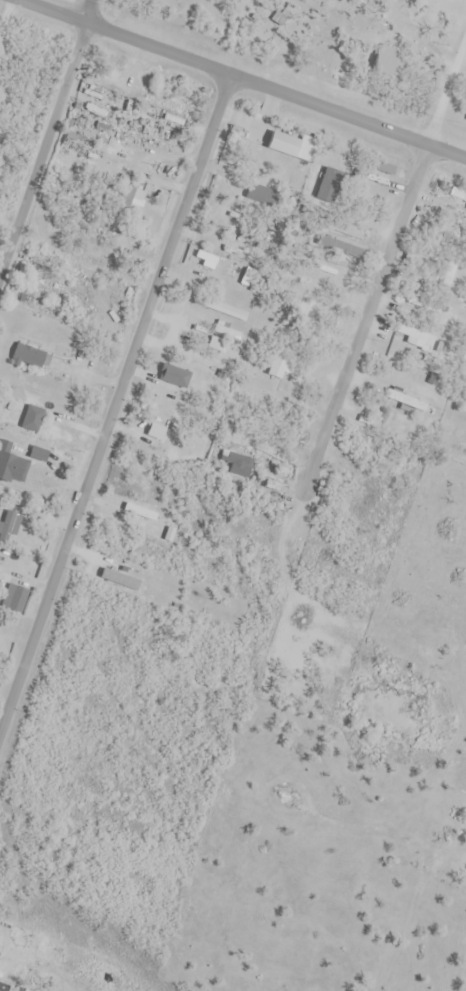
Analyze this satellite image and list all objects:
building: (361, 5)
road: (89, 12)
building: (381, 61)
road: (219, 74)
road: (445, 86)
building: (465, 118)
building: (78, 137)
road: (42, 148)
road: (445, 151)
building: (385, 168)
building: (371, 178)
building: (458, 194)
building: (130, 203)
building: (346, 231)
building: (103, 233)
building: (340, 248)
building: (450, 270)
building: (302, 305)
building: (425, 305)
road: (364, 313)
building: (412, 334)
building: (279, 364)
building: (169, 375)
building: (431, 375)
building: (416, 386)
building: (402, 398)
road: (114, 401)
building: (32, 419)
building: (451, 429)
building: (235, 463)
building: (22, 467)
building: (9, 527)
building: (18, 600)

